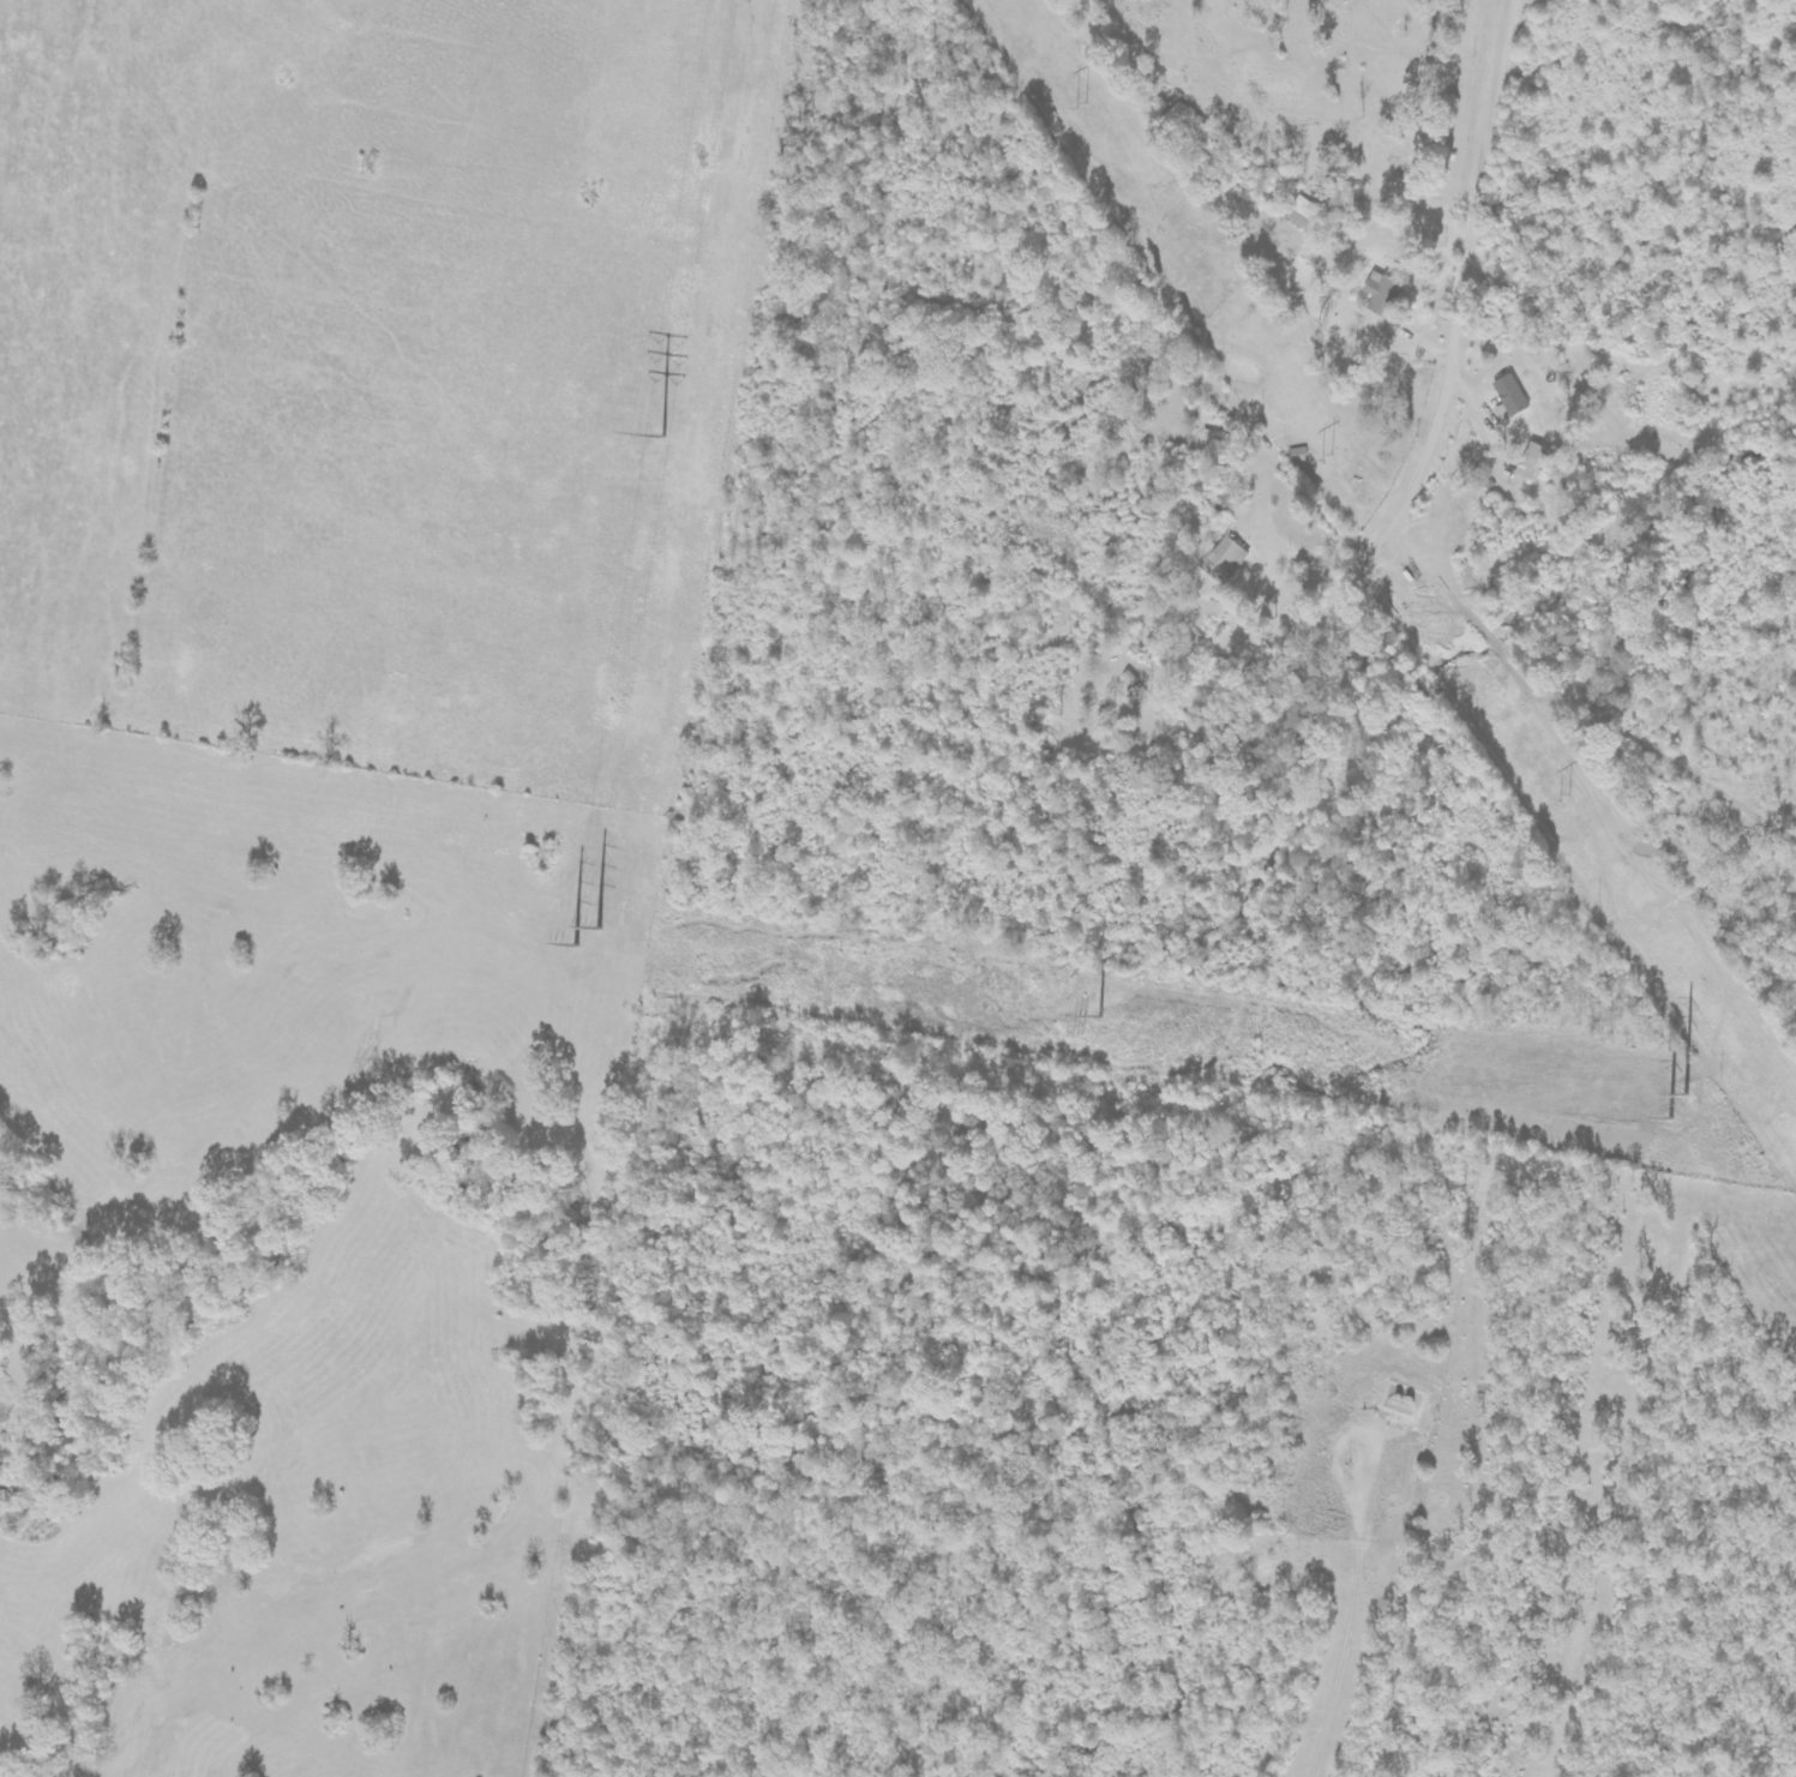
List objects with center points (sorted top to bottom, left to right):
power tower: (1080, 113)
road: (1326, 180)
building: (1382, 298)
building: (1508, 400)
power tower: (662, 426)
power tower: (1327, 456)
road: (1382, 546)
building: (1225, 560)
road: (1239, 679)
power tower: (1567, 796)
road: (1393, 815)
power tower: (585, 925)
power tower: (1099, 1011)
power tower: (1681, 1100)

